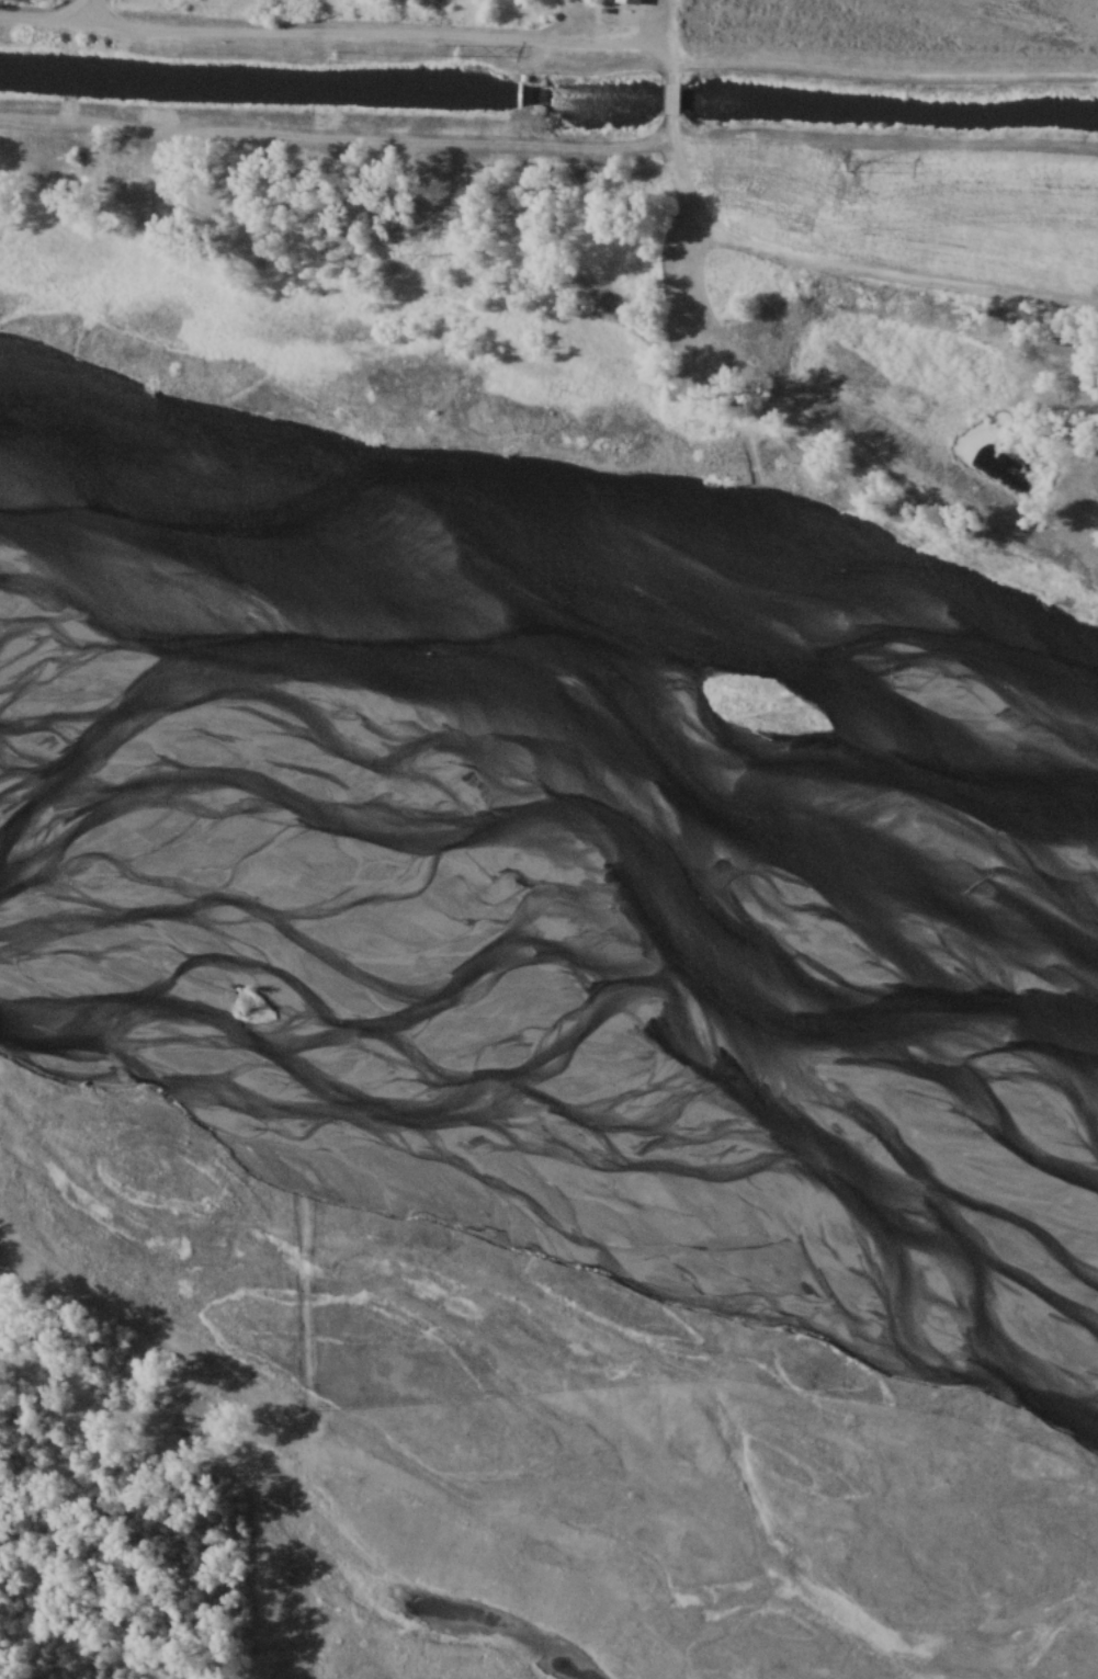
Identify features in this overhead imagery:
building: (629, 2)
road: (91, 13)
road: (343, 39)
power tower: (465, 54)
road: (670, 100)
road: (347, 146)
power tower: (851, 168)
river: (550, 767)

